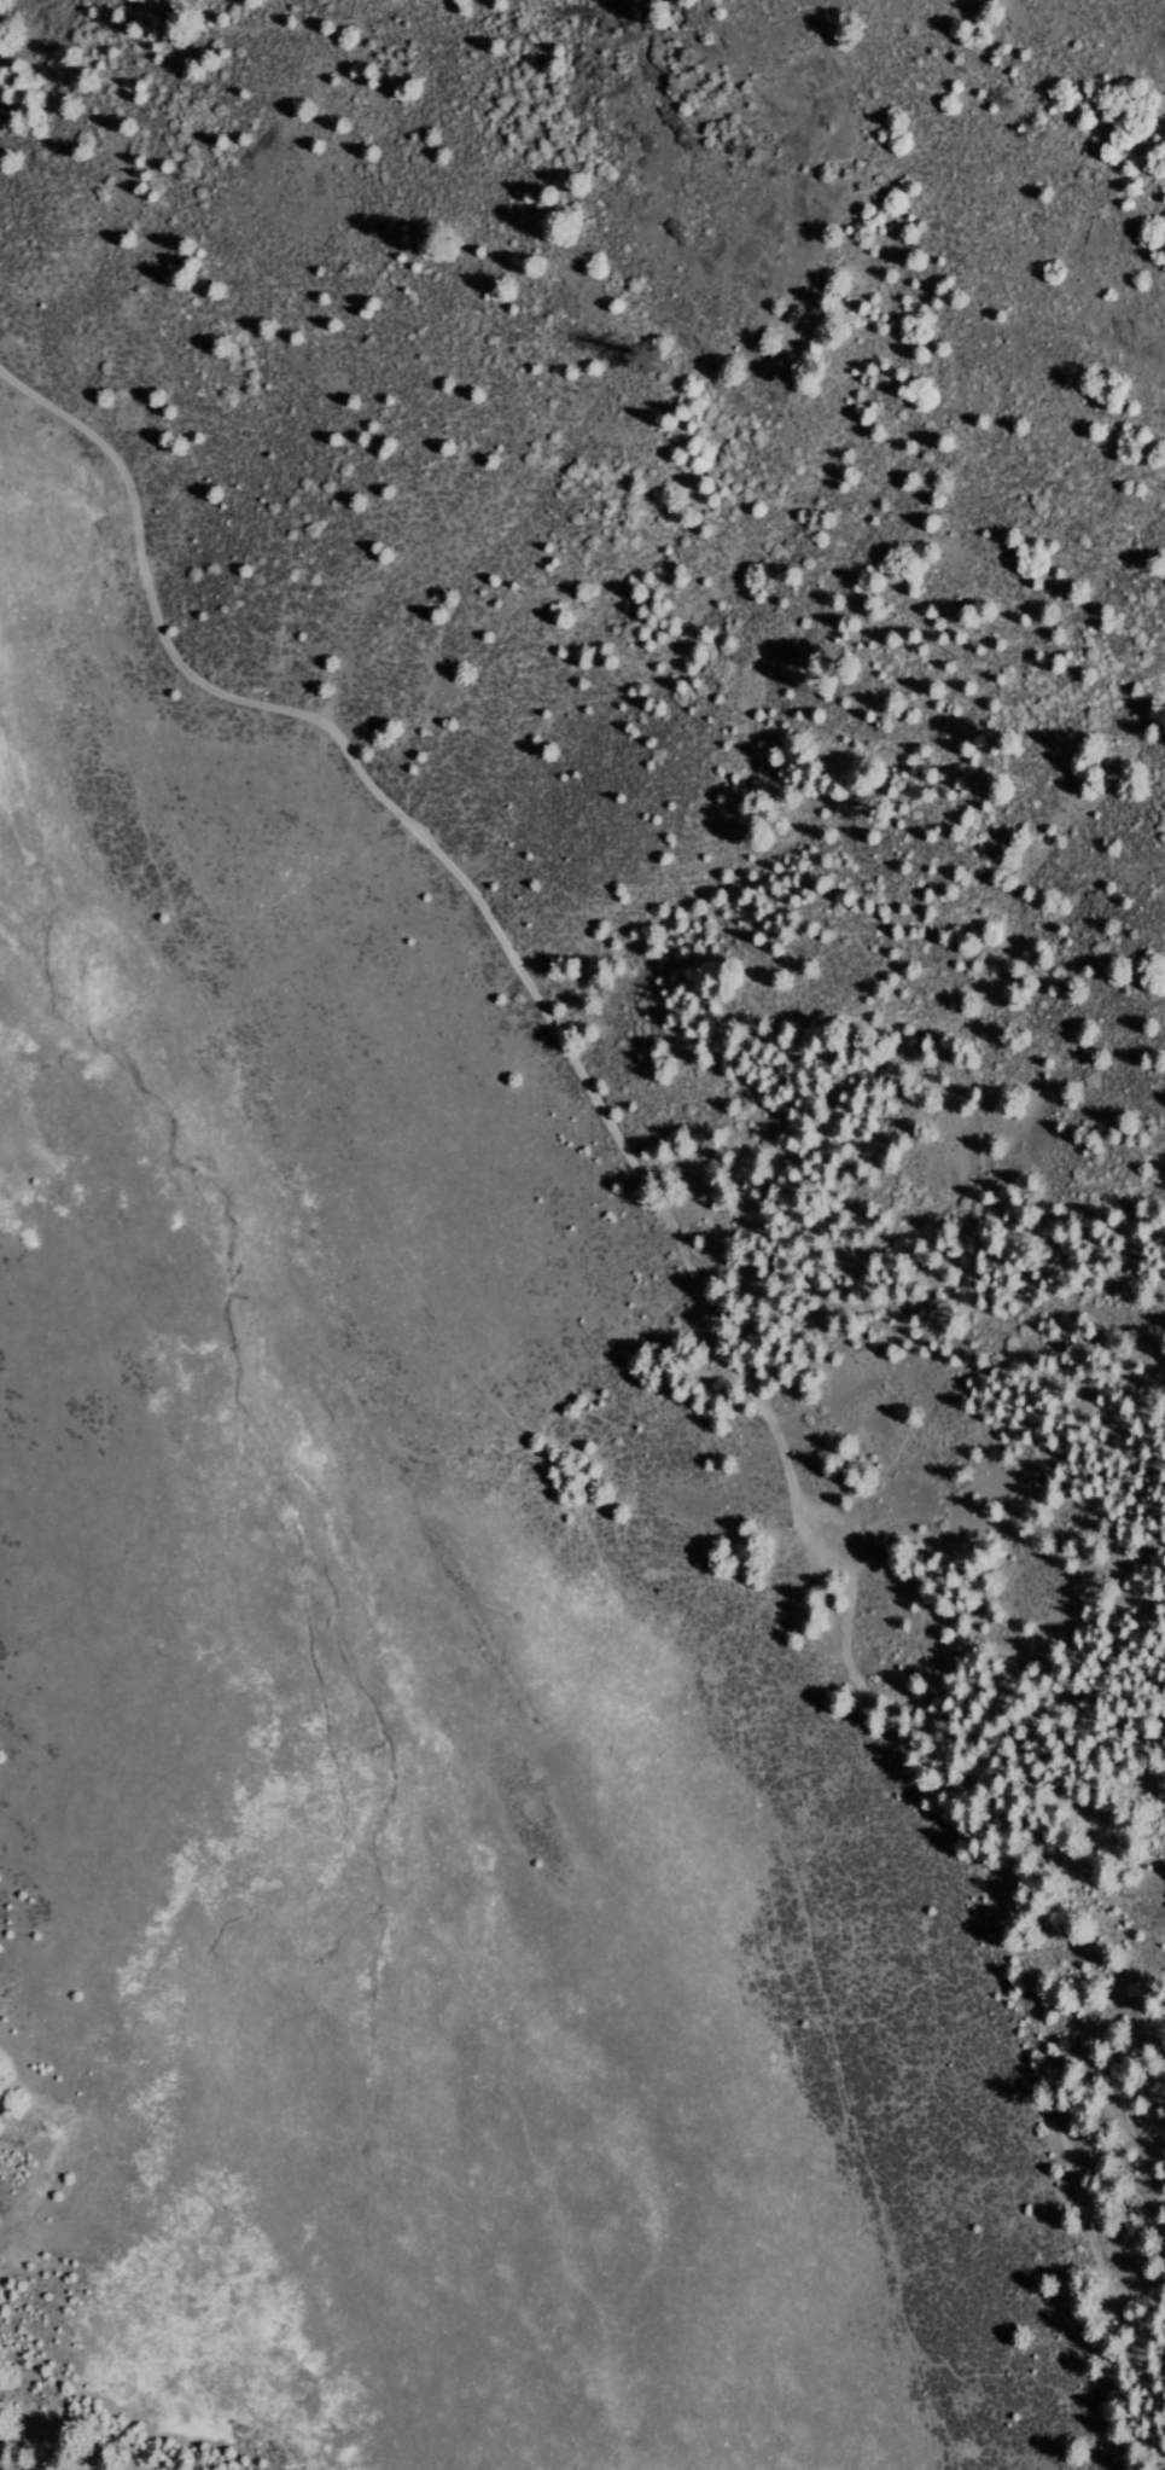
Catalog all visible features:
road: (700, 1323)
road: (86, 2422)

